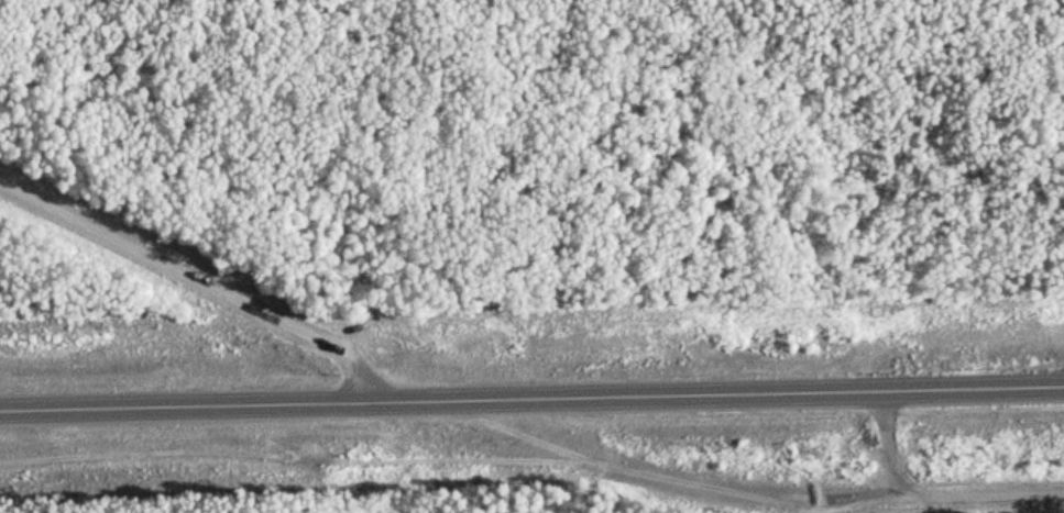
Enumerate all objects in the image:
road: (191, 279)
road: (531, 392)
road: (767, 489)
road: (929, 489)

